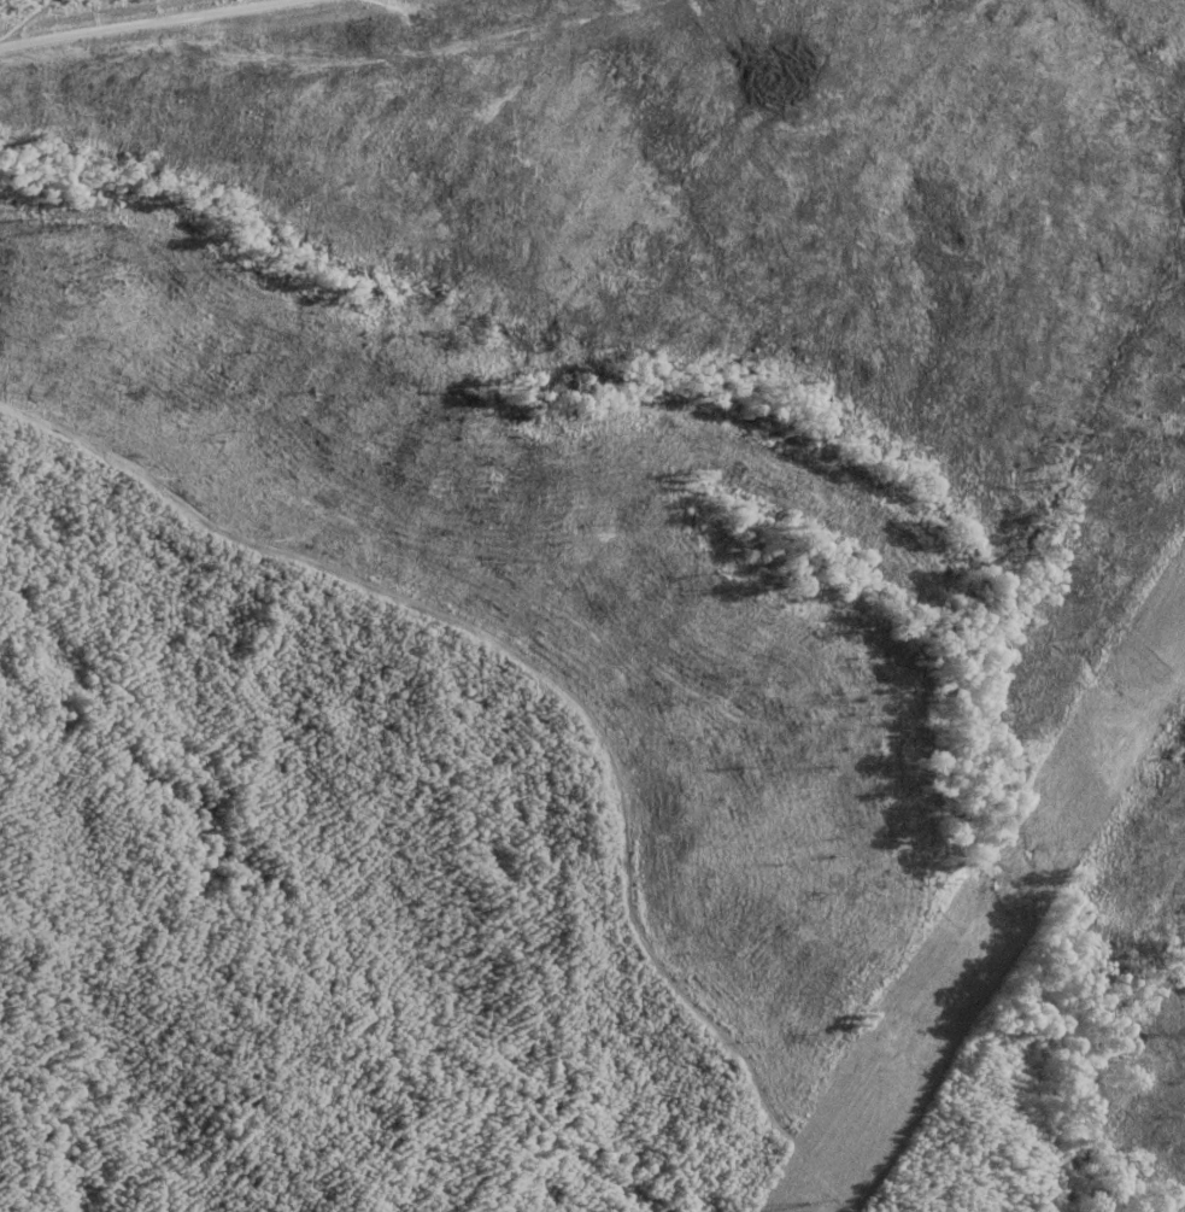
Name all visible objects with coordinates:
road: (46, 13)
power tower: (810, 1202)

